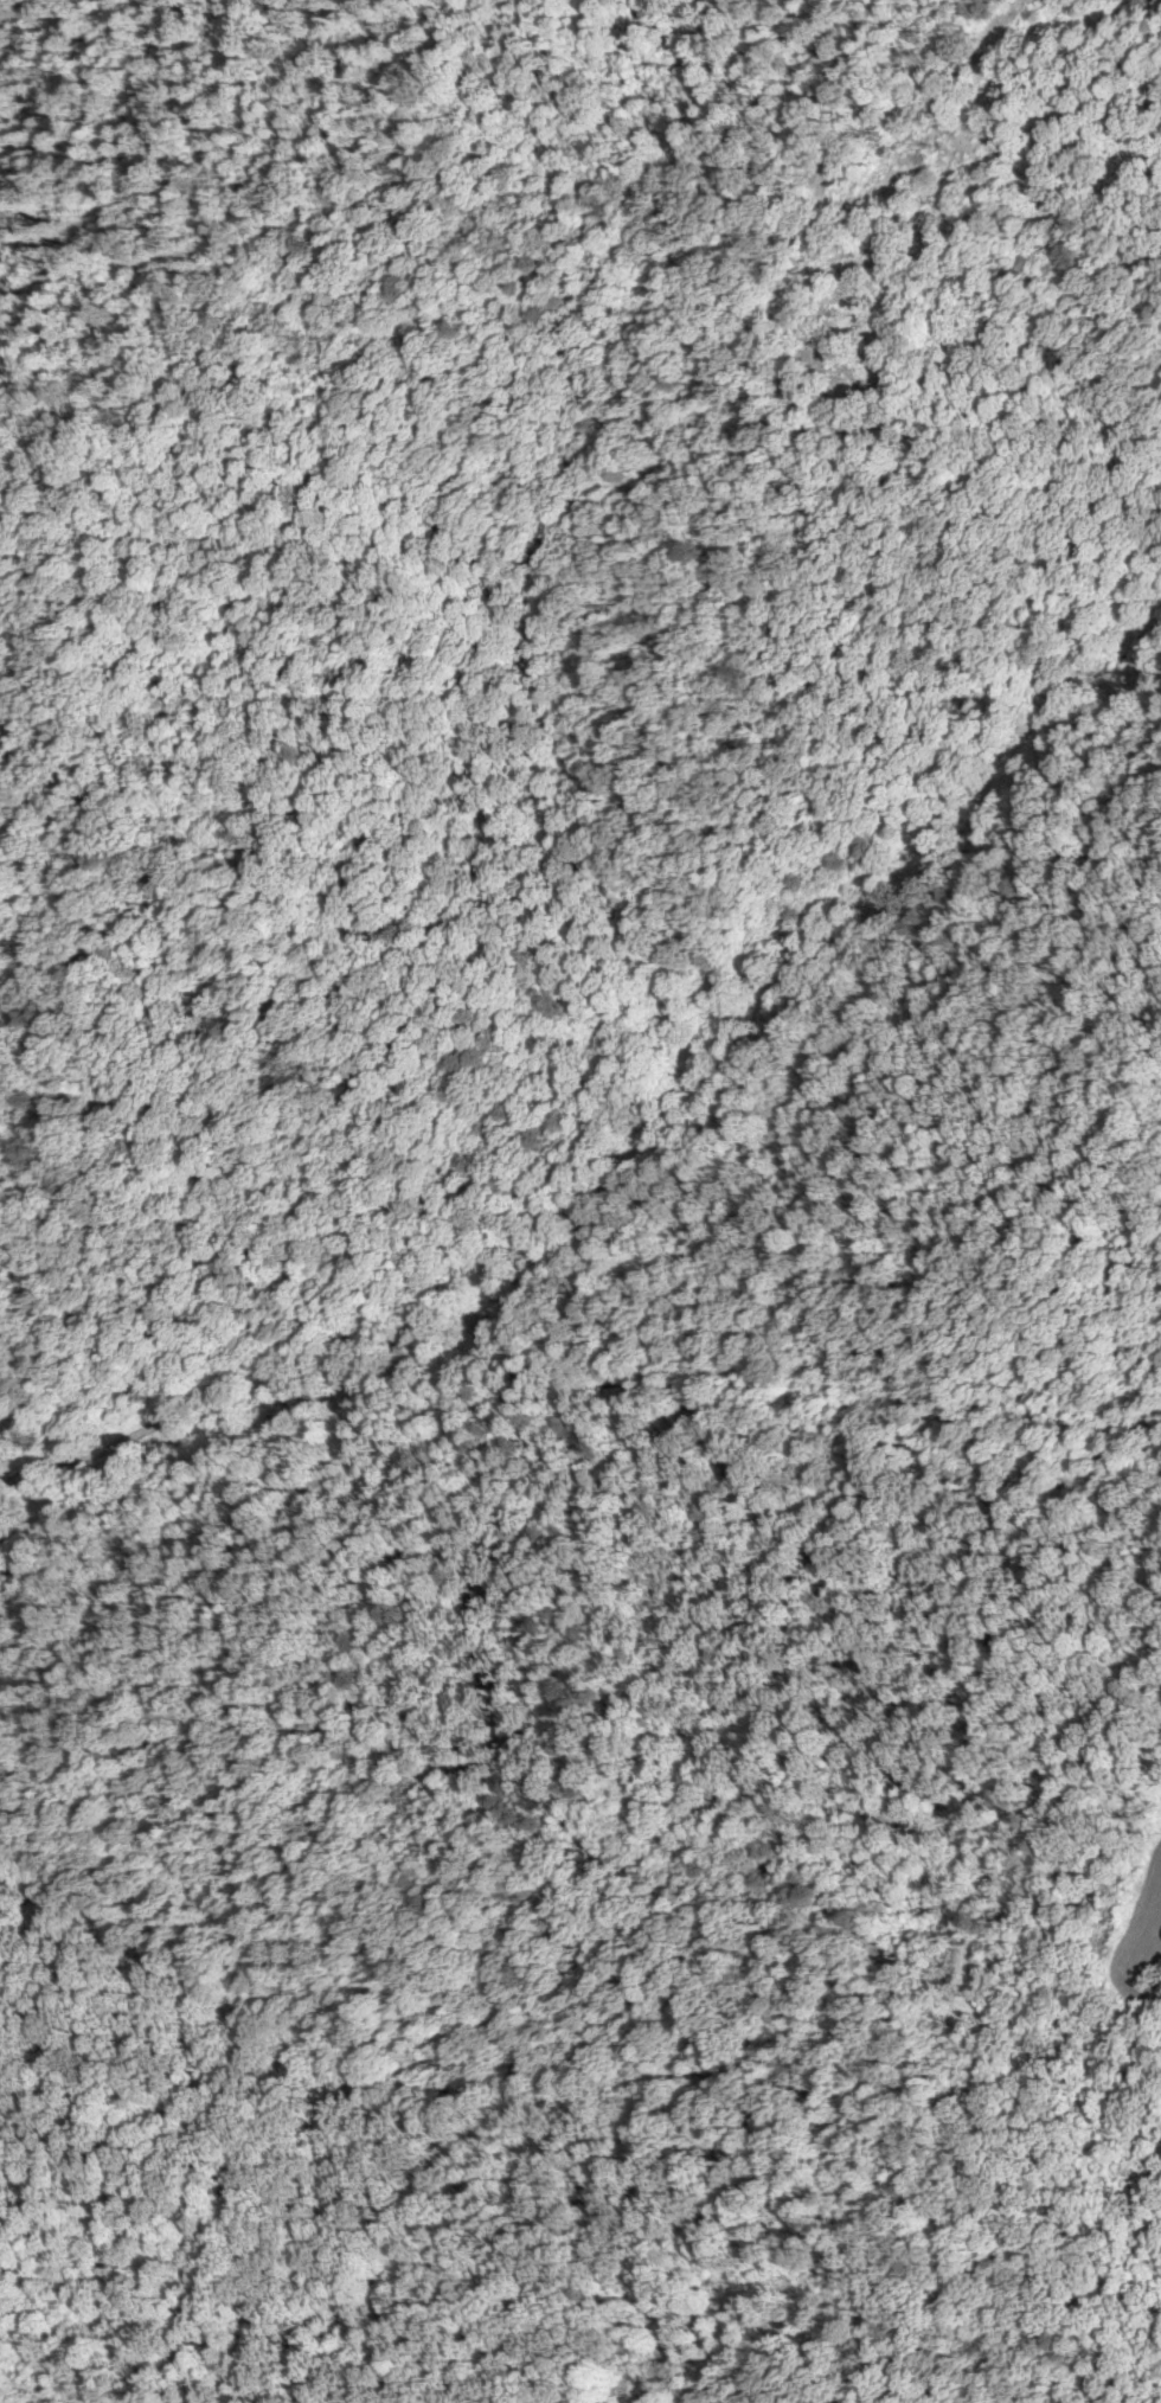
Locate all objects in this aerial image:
road: (43, 2385)

